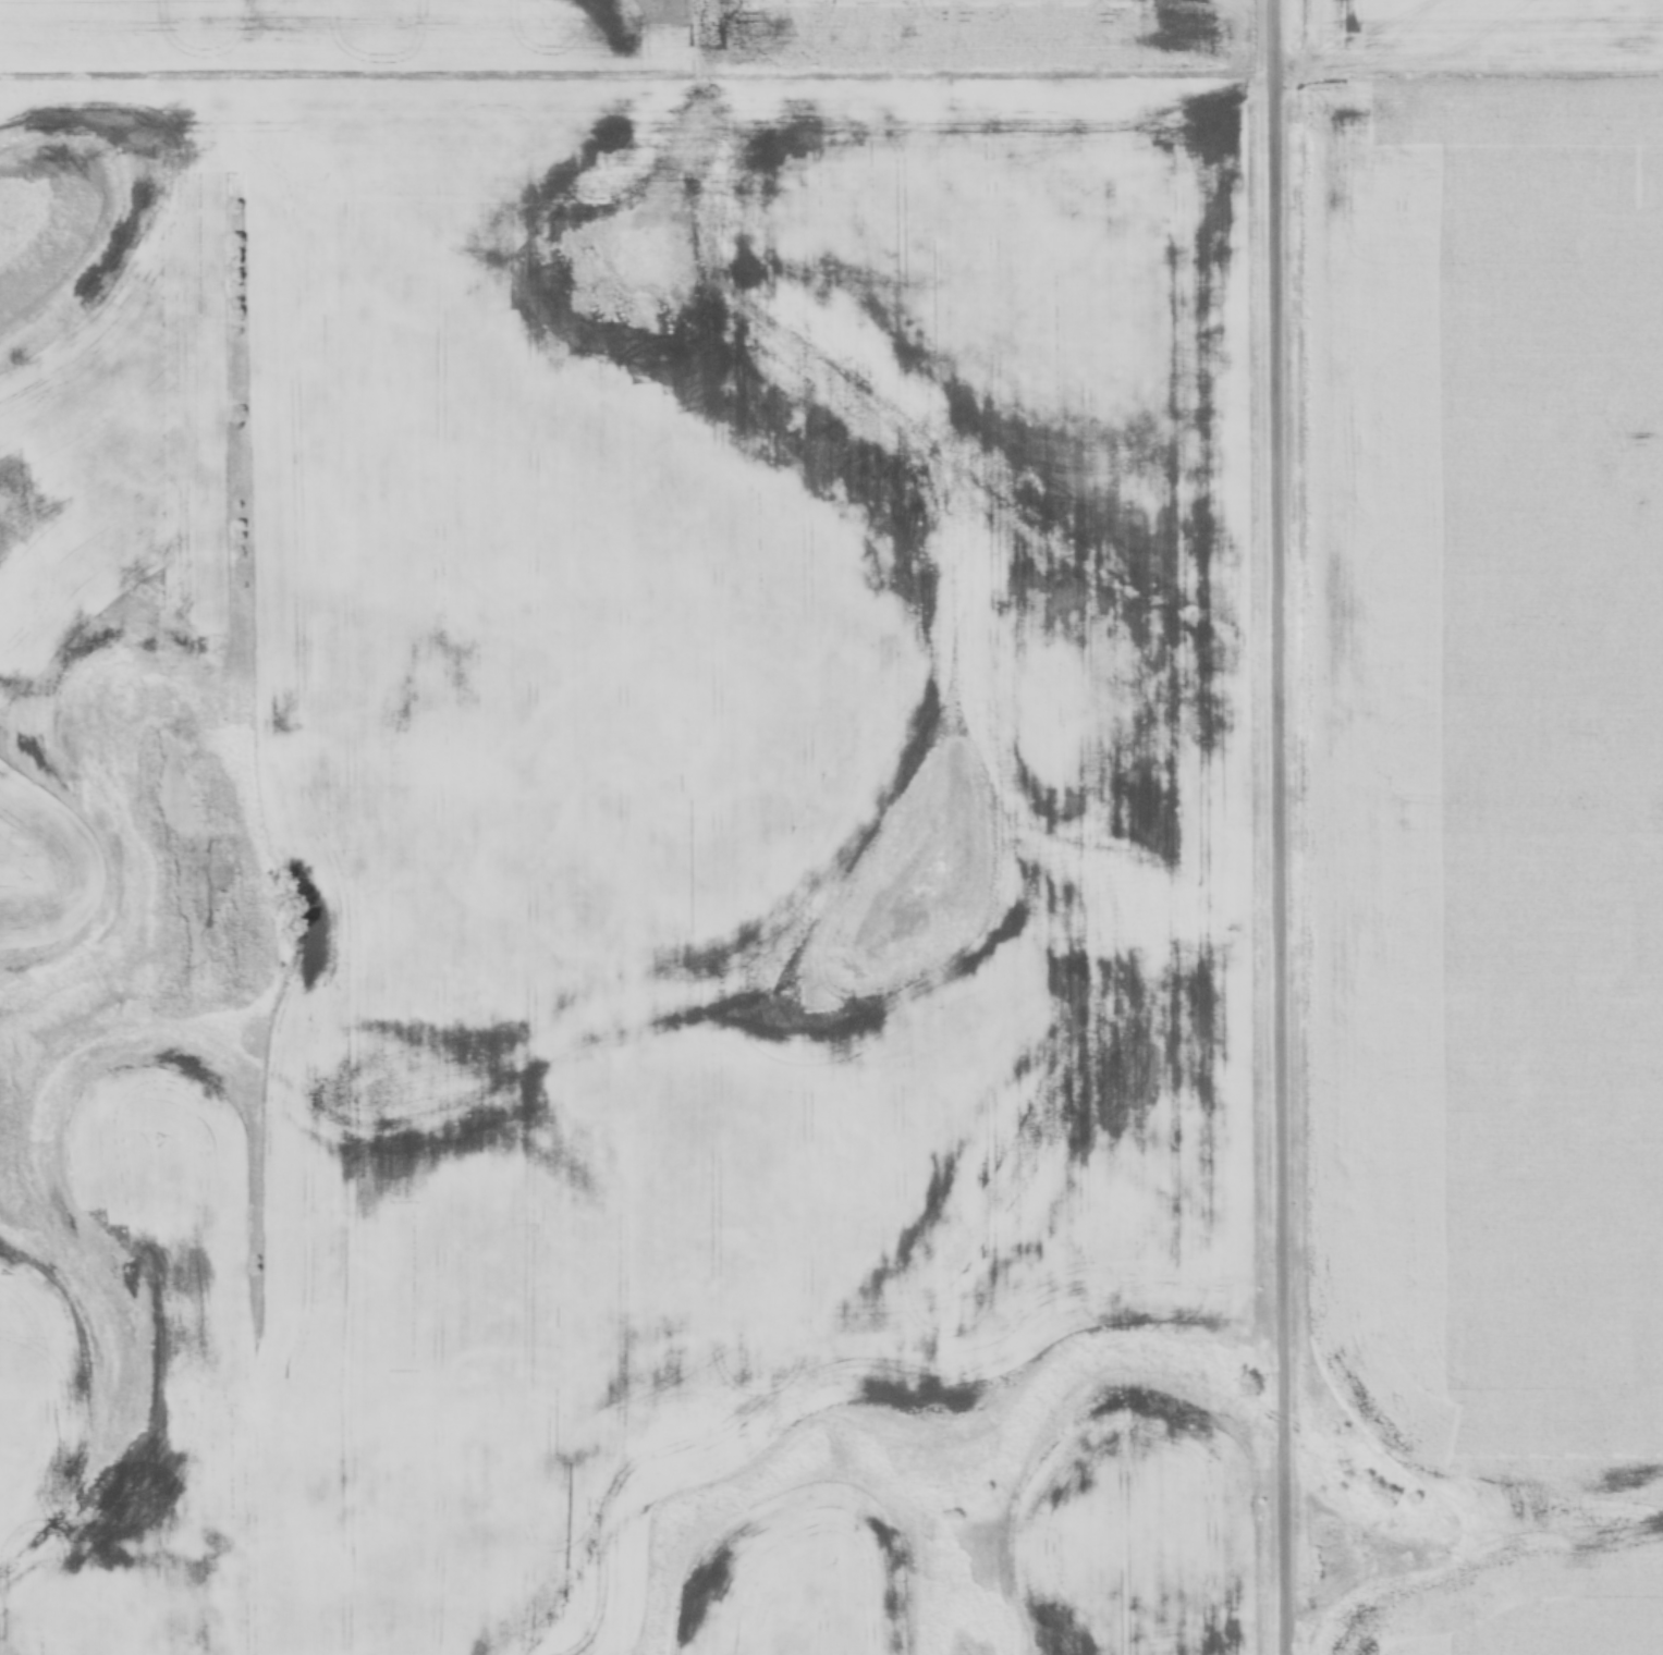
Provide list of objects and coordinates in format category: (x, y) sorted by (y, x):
road: (1274, 828)

